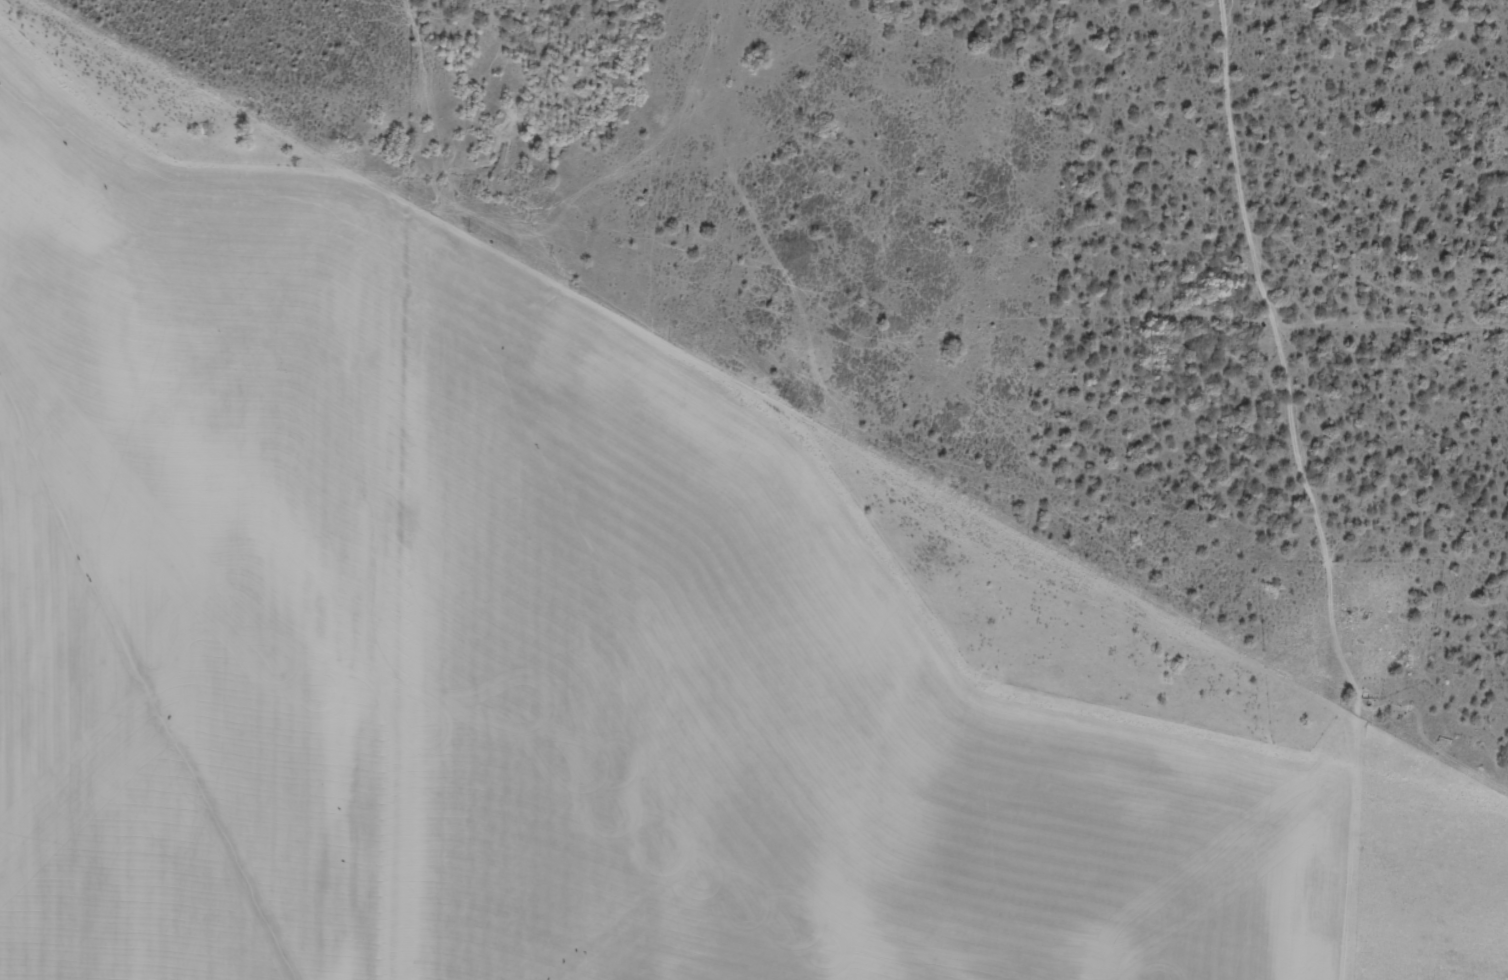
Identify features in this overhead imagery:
road: (1309, 491)

